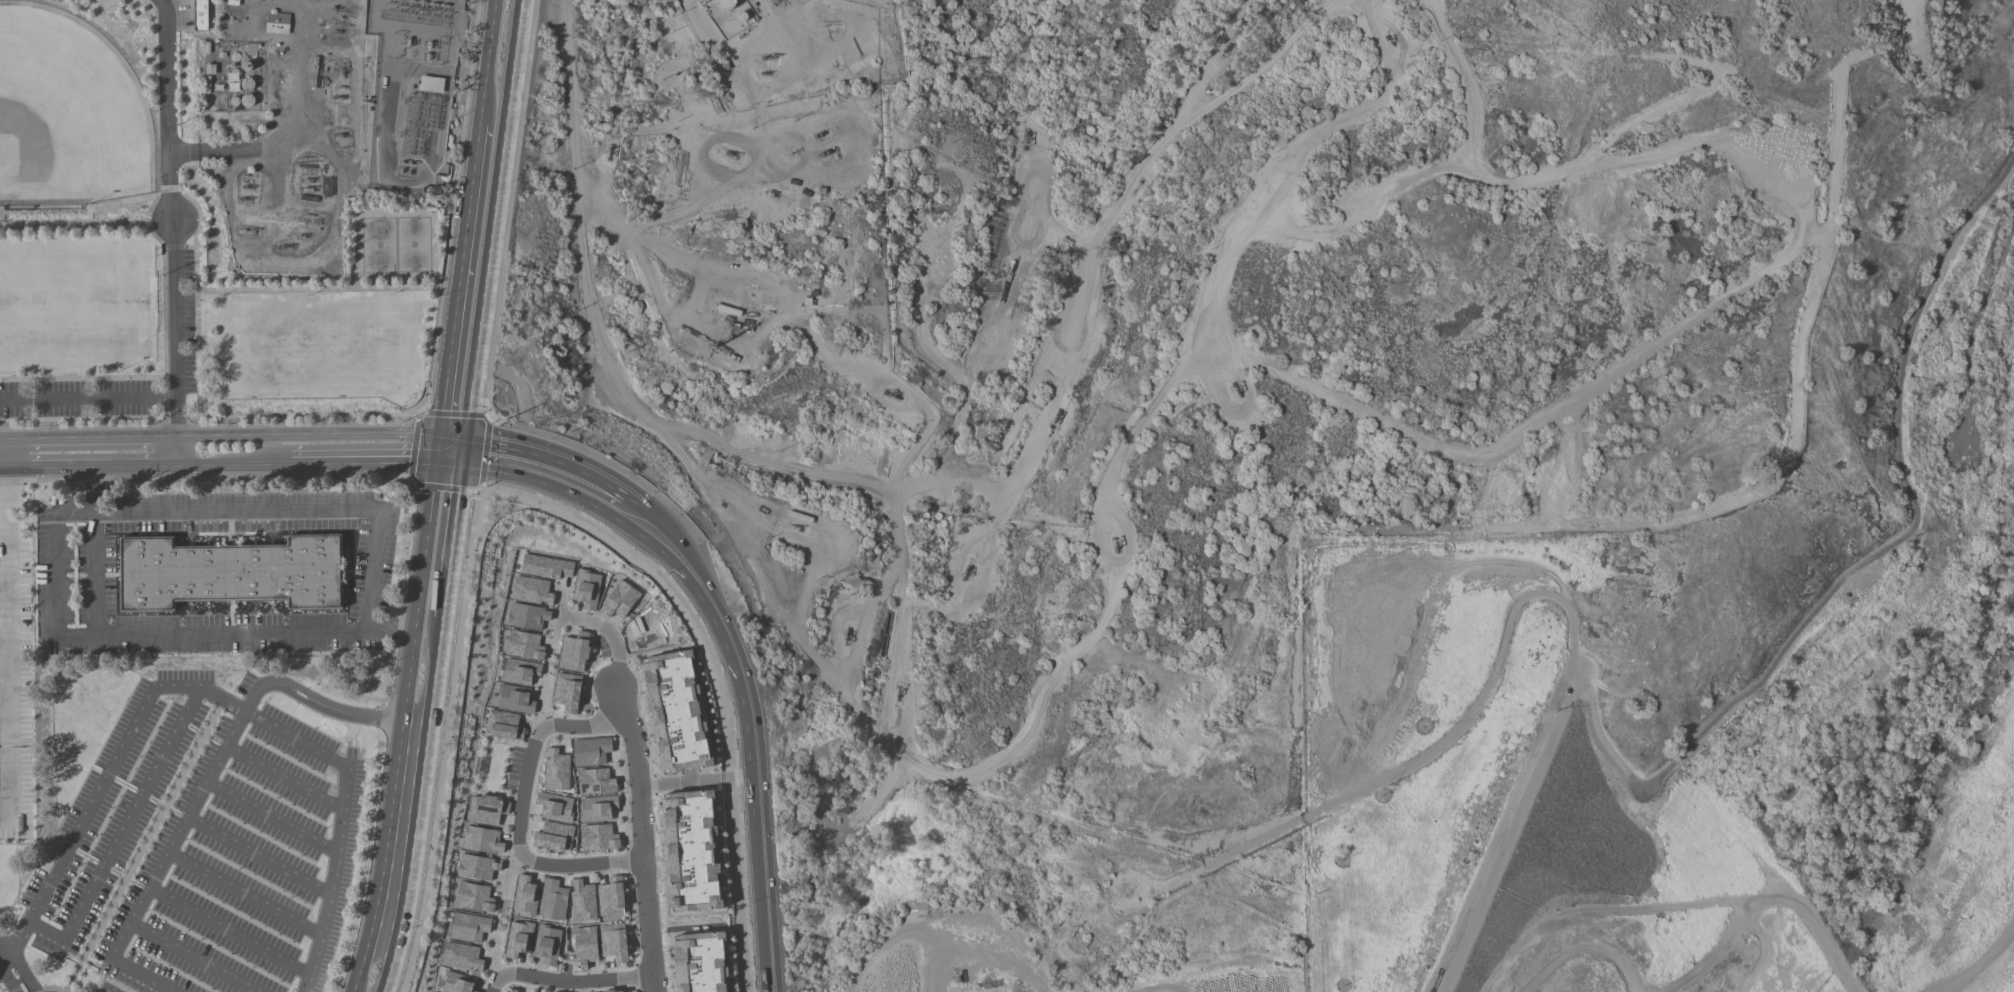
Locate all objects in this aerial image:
building: (201, 15)
building: (278, 23)
road: (776, 28)
petroleum well: (1389, 39)
petroleum well: (767, 57)
road: (1269, 58)
road: (1209, 59)
road: (488, 60)
petroleum well: (335, 70)
petroleum well: (343, 70)
petroleum well: (767, 73)
road: (1466, 82)
building: (432, 84)
petroleum well: (341, 88)
power substation: (412, 88)
road: (166, 96)
petroleum well: (338, 97)
park: (64, 118)
petroleum well: (340, 135)
petroleum well: (1023, 139)
road: (1306, 141)
road: (156, 142)
petroleum well: (607, 149)
road: (216, 152)
petroleum well: (731, 154)
petroleum well: (309, 180)
petroleum well: (247, 186)
petroleum well: (309, 189)
petroleum well: (769, 193)
petroleum well: (246, 198)
road: (1117, 198)
road: (199, 221)
road: (490, 229)
petroleum well: (248, 231)
road: (1814, 231)
petroleum well: (301, 237)
park: (395, 245)
petroleum well: (284, 247)
road: (1789, 254)
road: (456, 287)
road: (315, 291)
park: (71, 304)
road: (703, 306)
road: (794, 308)
road: (163, 320)
parking lot: (179, 322)
road: (174, 329)
road: (602, 342)
road: (685, 344)
park: (314, 345)
road: (979, 356)
road: (82, 380)
petroleum well: (1238, 391)
petroleum well: (891, 395)
parking lot: (80, 399)
road: (88, 401)
petroleum well: (1055, 418)
road: (184, 419)
road: (1049, 420)
road: (1797, 425)
road: (309, 434)
road: (94, 438)
road: (5, 440)
traffic signals: (434, 454)
road: (448, 456)
traffic signals: (462, 458)
road: (361, 463)
road: (102, 465)
road: (232, 465)
road: (14, 467)
road: (556, 479)
petroleum well: (925, 502)
road: (289, 507)
petroleum well: (729, 507)
road: (776, 511)
petroleum well: (793, 528)
road: (451, 540)
petroleum well: (1116, 543)
road: (819, 553)
building: (545, 567)
road: (91, 572)
building: (234, 572)
petroleum well: (966, 572)
building: (587, 589)
building: (531, 591)
road: (10, 594)
building: (619, 600)
road: (558, 612)
park: (1847, 613)
building: (527, 616)
road: (905, 629)
road: (609, 632)
road: (638, 633)
road: (139, 635)
petroleum well: (847, 636)
building: (524, 645)
building: (574, 652)
road: (734, 656)
building: (520, 672)
road: (1753, 689)
building: (567, 692)
petroleum well: (897, 694)
building: (515, 699)
road: (543, 707)
building: (676, 712)
road: (400, 724)
building: (504, 726)
road: (1420, 751)
building: (591, 752)
road: (1001, 762)
building: (557, 771)
road: (8, 777)
road: (283, 779)
road: (104, 780)
building: (595, 782)
road: (672, 782)
road: (203, 784)
building: (555, 807)
road: (418, 808)
building: (598, 808)
building: (487, 809)
road: (520, 809)
road: (270, 818)
road: (340, 822)
road: (121, 836)
building: (554, 837)
building: (598, 837)
road: (638, 837)
building: (482, 839)
road: (141, 846)
building: (691, 851)
road: (257, 856)
building: (477, 866)
road: (508, 873)
road: (243, 895)
building: (475, 896)
building: (526, 896)
building: (611, 897)
building: (553, 900)
building: (583, 901)
road: (764, 905)
road: (1766, 906)
road: (685, 923)
building: (469, 926)
road: (227, 932)
building: (519, 939)
building: (614, 942)
building: (548, 944)
building: (586, 946)
road: (1592, 947)
road: (3, 953)
building: (462, 956)
road: (494, 956)
crop: (939, 957)
road: (190, 958)
building: (700, 963)
road: (1994, 964)
road: (18, 967)
crop: (1228, 976)
road: (6, 980)
road: (567, 982)
building: (458, 983)
road: (577, 987)
building: (510, 990)
building: (619, 991)

